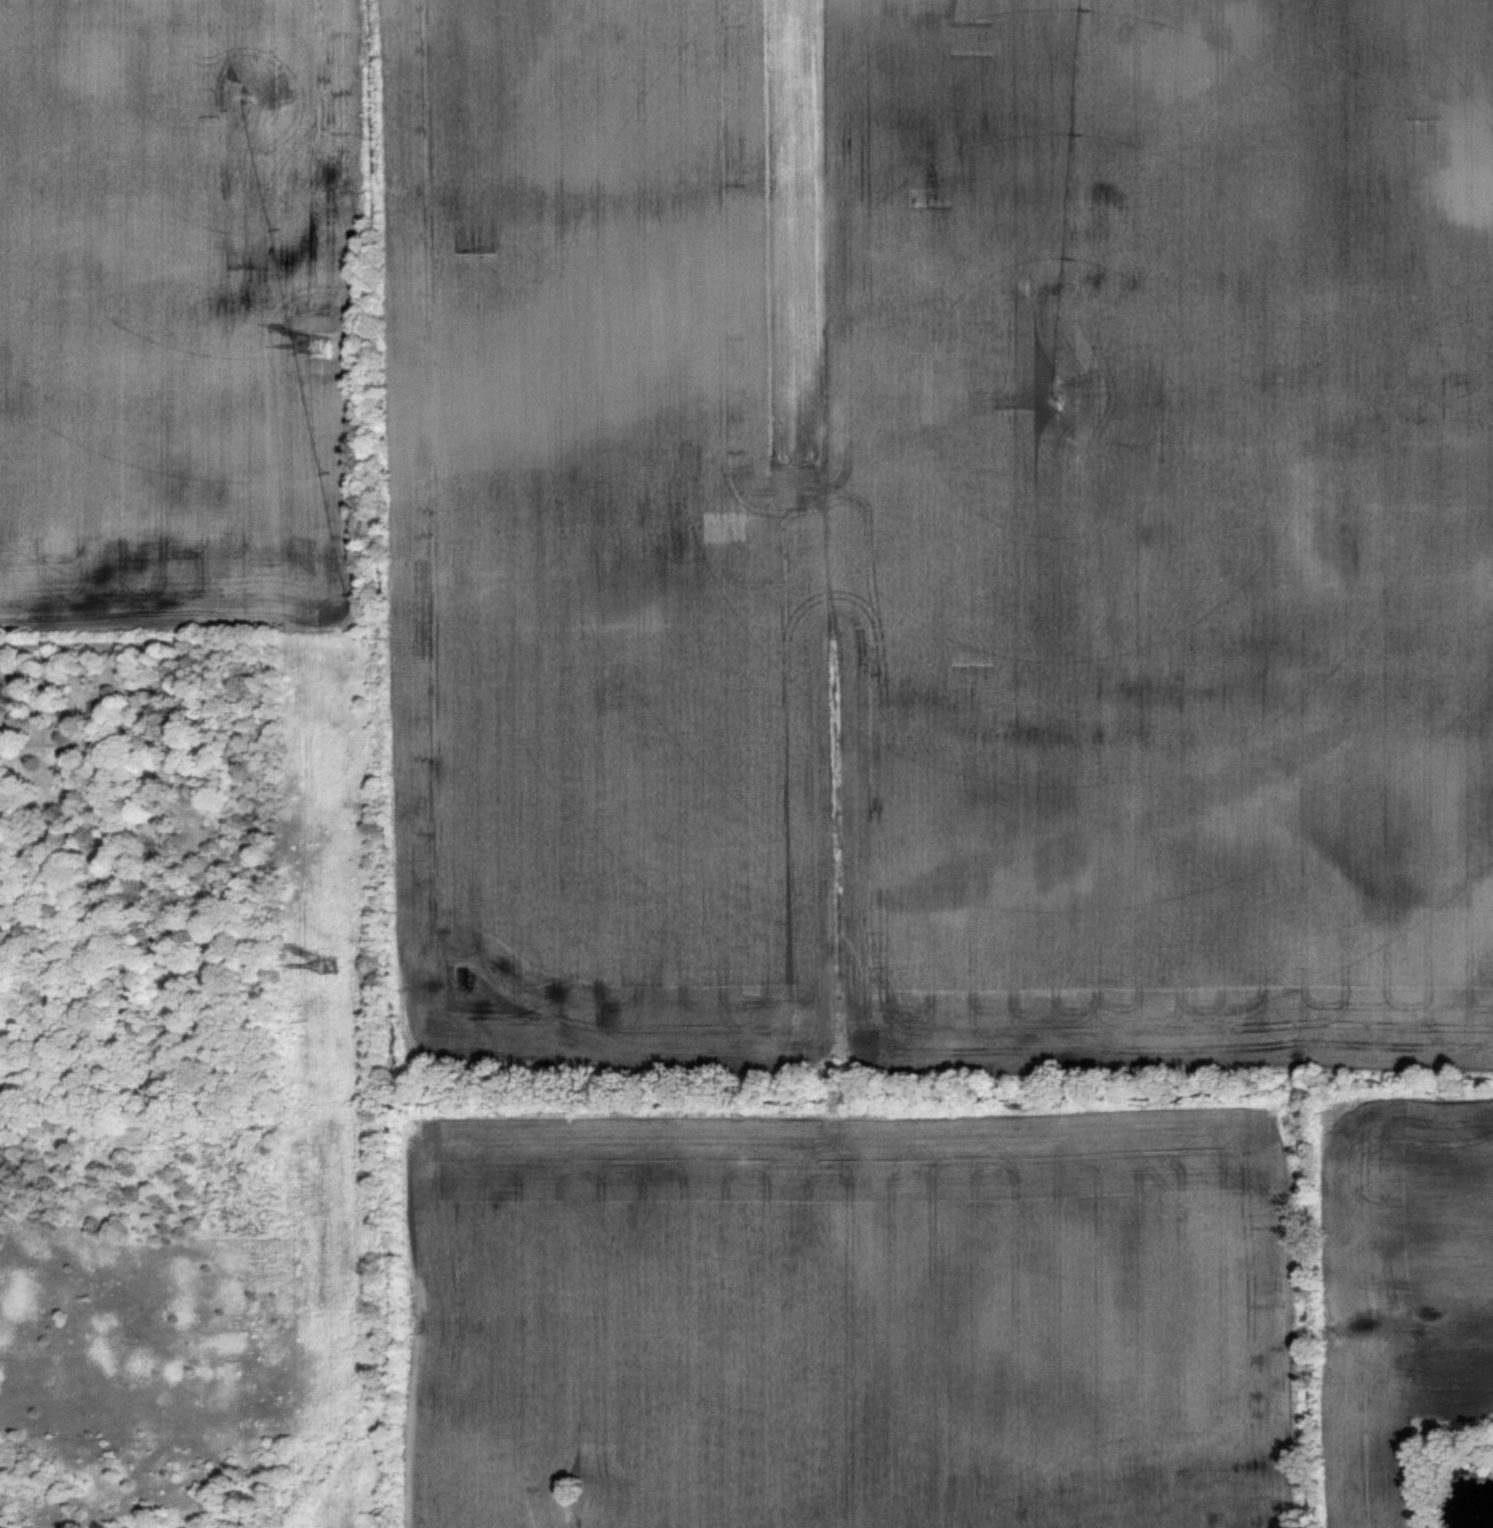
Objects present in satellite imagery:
power tower: (319, 346)
power tower: (333, 965)

